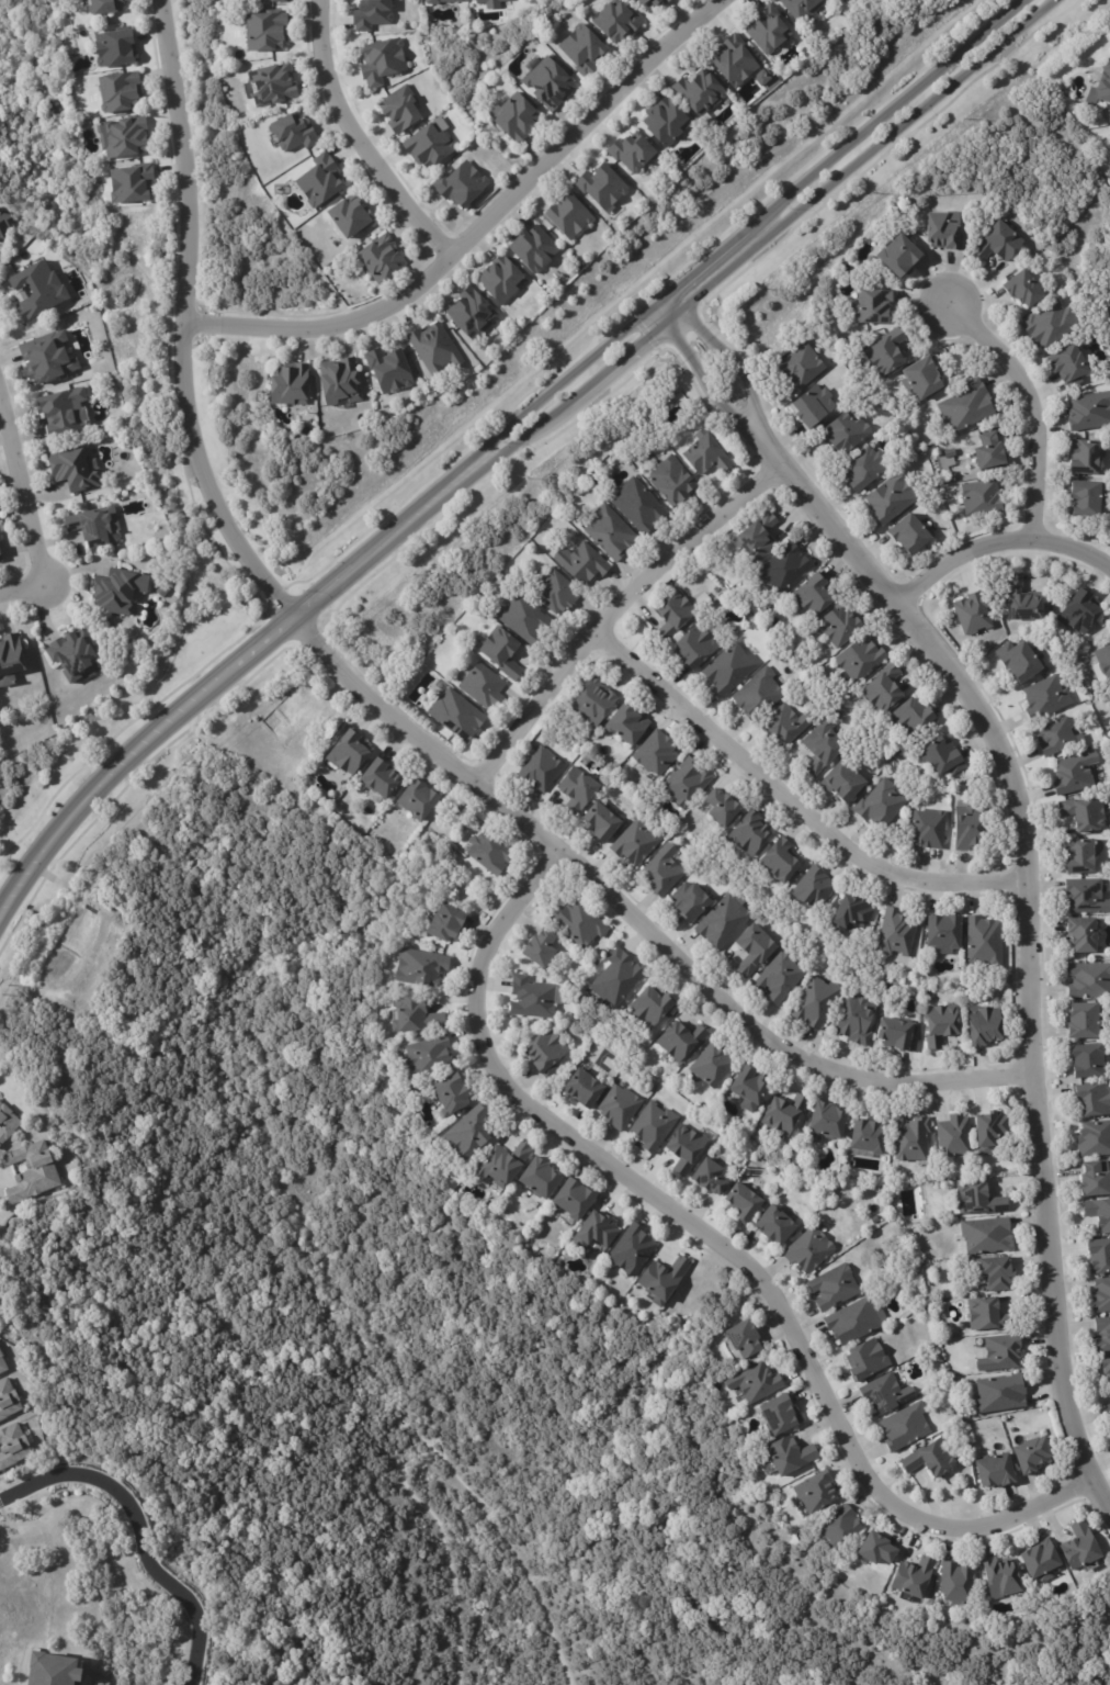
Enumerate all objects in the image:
building: (840, 0)
building: (275, 1)
building: (440, 1)
building: (488, 3)
building: (648, 3)
building: (100, 7)
building: (803, 8)
building: (370, 14)
building: (615, 21)
building: (768, 30)
building: (263, 32)
building: (111, 49)
building: (581, 52)
building: (381, 63)
building: (733, 63)
building: (546, 83)
building: (1103, 85)
building: (271, 86)
building: (700, 92)
building: (116, 93)
building: (398, 110)
building: (514, 119)
building: (664, 122)
building: (290, 134)
road: (365, 135)
building: (123, 138)
building: (428, 147)
building: (632, 153)
building: (1109, 156)
building: (98, 168)
building: (317, 182)
building: (128, 186)
building: (461, 186)
building: (602, 188)
building: (348, 218)
building: (569, 218)
building: (5, 222)
road: (480, 226)
building: (942, 229)
road: (741, 232)
road: (766, 239)
building: (997, 243)
building: (533, 249)
building: (898, 257)
building: (378, 259)
building: (498, 281)
building: (56, 290)
building: (1023, 290)
building: (870, 304)
building: (471, 315)
building: (1049, 324)
building: (433, 350)
building: (884, 352)
building: (50, 358)
building: (1067, 364)
building: (800, 366)
building: (387, 371)
building: (920, 378)
building: (337, 383)
building: (285, 386)
road: (1031, 397)
building: (812, 406)
building: (965, 406)
building: (1088, 411)
building: (69, 412)
building: (843, 431)
building: (987, 450)
building: (704, 454)
building: (1083, 457)
building: (862, 469)
building: (78, 470)
building: (669, 480)
building: (888, 497)
building: (981, 497)
building: (1085, 497)
building: (636, 505)
road: (25, 516)
building: (94, 525)
building: (608, 532)
building: (909, 533)
building: (756, 538)
road: (998, 549)
building: (2, 552)
building: (580, 564)
building: (783, 568)
building: (1063, 587)
building: (122, 589)
building: (551, 591)
building: (809, 595)
building: (1019, 599)
building: (1079, 610)
building: (972, 611)
building: (671, 614)
road: (622, 617)
building: (521, 618)
building: (834, 625)
building: (695, 647)
building: (76, 653)
building: (500, 653)
building: (859, 658)
building: (11, 660)
building: (1019, 661)
building: (1103, 661)
building: (727, 670)
road: (219, 674)
building: (480, 686)
building: (881, 688)
building: (757, 695)
building: (1044, 697)
building: (591, 701)
road: (385, 710)
building: (455, 716)
building: (909, 718)
building: (624, 724)
building: (783, 724)
building: (1054, 737)
building: (818, 748)
building: (348, 752)
building: (654, 753)
building: (7, 755)
building: (939, 756)
building: (540, 770)
building: (1072, 775)
building: (380, 779)
building: (840, 780)
building: (684, 784)
building: (574, 791)
building: (417, 800)
road: (797, 805)
building: (880, 805)
building: (717, 807)
building: (454, 809)
building: (1083, 813)
building: (597, 822)
building: (969, 827)
building: (927, 828)
building: (746, 834)
building: (634, 843)
road: (1026, 849)
building: (487, 853)
building: (1078, 857)
building: (778, 861)
building: (704, 865)
building: (661, 870)
building: (812, 889)
building: (1085, 896)
building: (687, 902)
building: (850, 913)
building: (720, 923)
building: (441, 924)
building: (577, 924)
building: (895, 933)
building: (941, 934)
building: (1080, 935)
building: (983, 942)
building: (537, 948)
building: (750, 950)
building: (417, 968)
building: (615, 978)
building: (777, 978)
building: (1088, 980)
building: (532, 999)
building: (813, 1003)
building: (649, 1008)
building: (415, 1016)
building: (852, 1019)
building: (1083, 1022)
building: (939, 1025)
building: (982, 1025)
building: (895, 1036)
building: (679, 1040)
building: (544, 1053)
building: (426, 1057)
building: (1085, 1061)
building: (711, 1065)
building: (747, 1088)
building: (584, 1089)
building: (450, 1094)
building: (1091, 1100)
building: (618, 1109)
building: (782, 1113)
building: (825, 1121)
building: (9, 1124)
building: (650, 1127)
building: (989, 1131)
building: (468, 1133)
building: (867, 1136)
building: (953, 1137)
building: (909, 1139)
building: (1094, 1141)
building: (684, 1150)
building: (501, 1166)
building: (37, 1172)
building: (707, 1177)
building: (539, 1180)
building: (1091, 1182)
building: (573, 1200)
building: (975, 1201)
building: (741, 1202)
building: (1098, 1215)
building: (772, 1227)
building: (596, 1233)
building: (985, 1236)
road: (726, 1249)
building: (808, 1250)
building: (632, 1252)
building: (1098, 1256)
building: (0, 1261)
building: (996, 1274)
building: (660, 1281)
building: (833, 1288)
building: (1100, 1296)
building: (982, 1316)
building: (852, 1322)
building: (1102, 1335)
building: (743, 1340)
building: (999, 1355)
building: (864, 1362)
building: (3, 1363)
building: (1106, 1371)
building: (752, 1384)
building: (884, 1396)
building: (999, 1396)
building: (10, 1401)
building: (1108, 1411)
building: (779, 1416)
building: (904, 1428)
building: (14, 1447)
building: (1030, 1457)
building: (789, 1458)
building: (930, 1461)
building: (994, 1472)
building: (815, 1493)
building: (839, 1530)
road: (139, 1531)
building: (1079, 1549)
building: (876, 1551)
building: (1041, 1562)
building: (911, 1577)
building: (1000, 1579)
building: (958, 1584)
building: (47, 1673)

